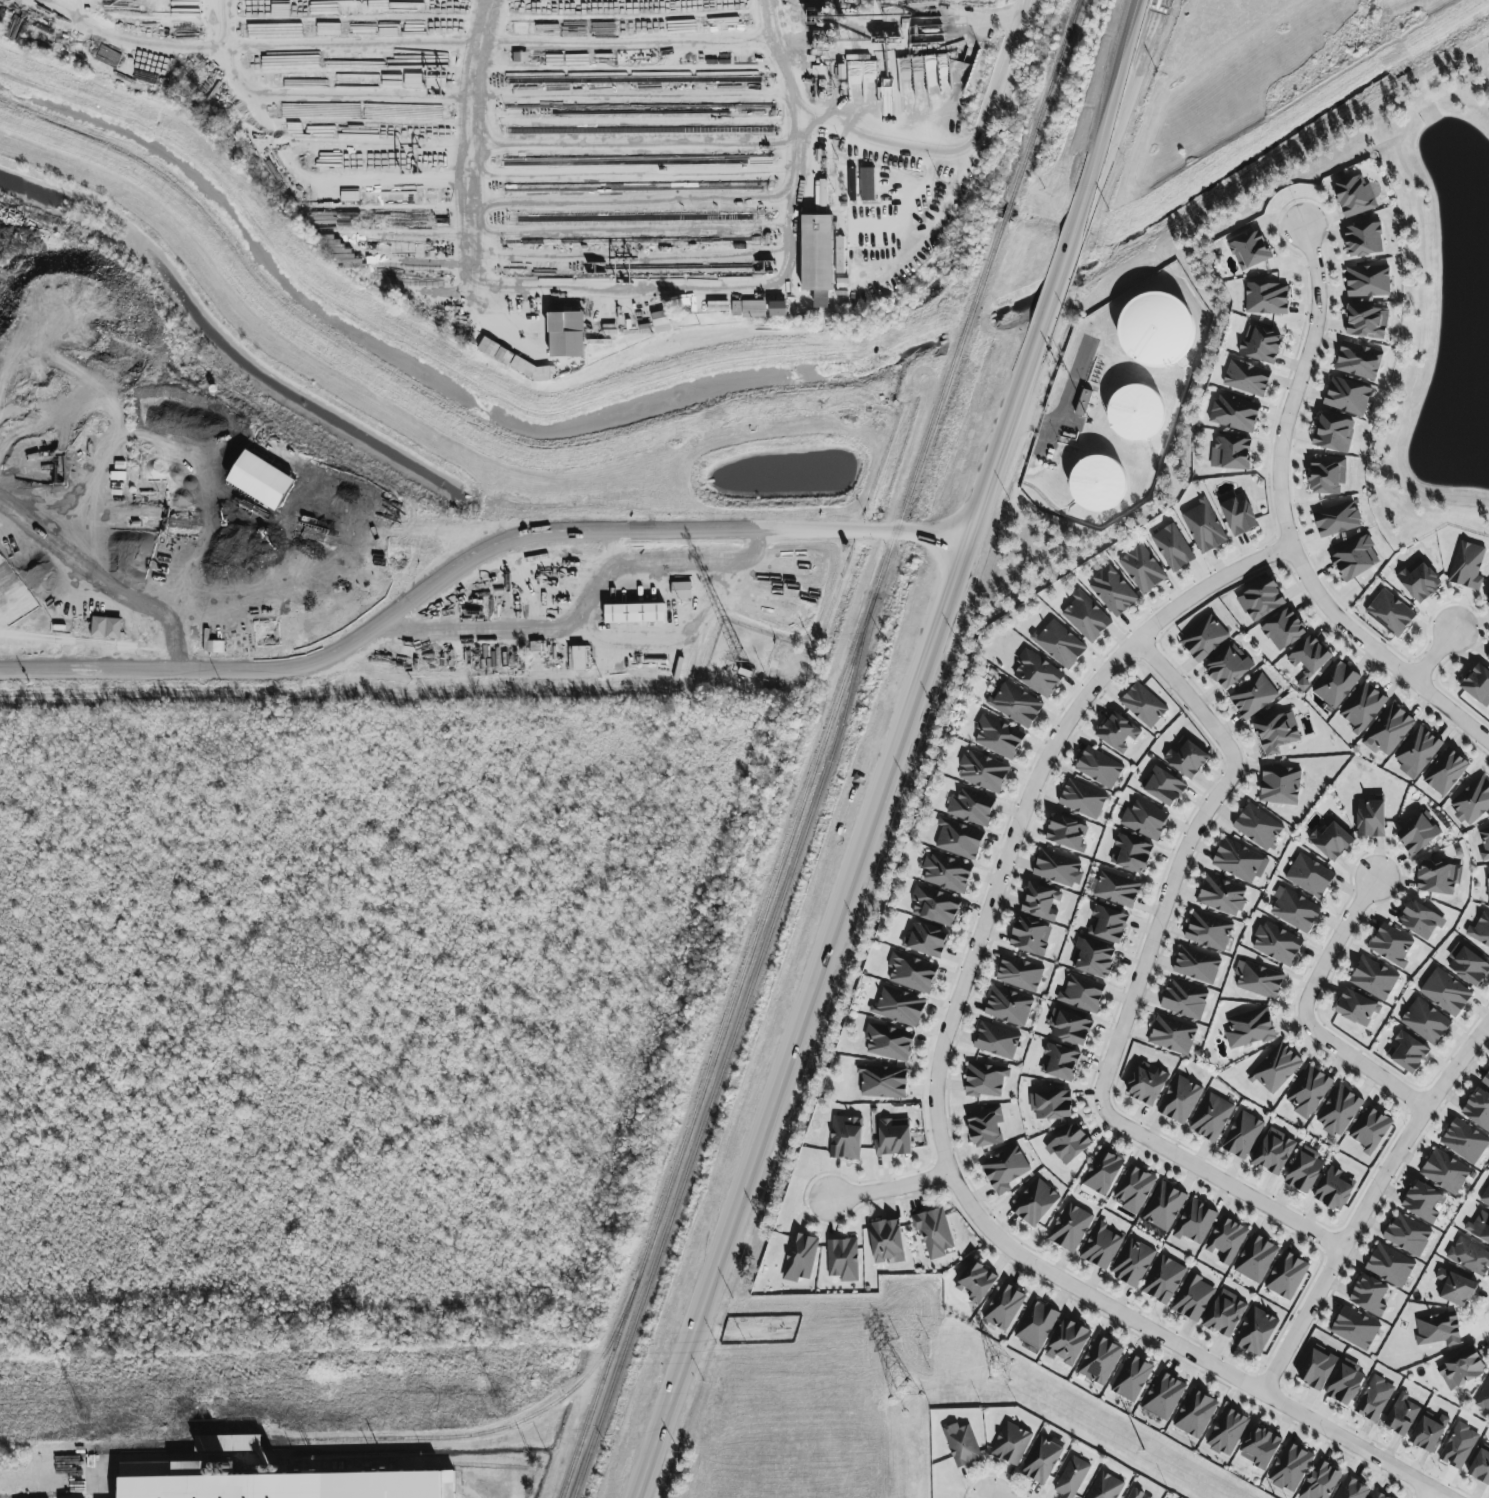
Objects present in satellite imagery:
road: (220, 52)
road: (524, 95)
road: (888, 132)
road: (1106, 134)
road: (973, 167)
river: (1247, 177)
building: (867, 184)
building: (852, 195)
building: (1354, 196)
building: (1363, 240)
building: (1250, 250)
building: (817, 258)
building: (1368, 281)
road: (632, 284)
road: (1052, 294)
building: (1266, 298)
building: (748, 309)
building: (777, 309)
building: (661, 322)
building: (1366, 322)
river: (968, 326)
building: (1156, 330)
building: (566, 335)
building: (1260, 344)
building: (1358, 360)
building: (513, 361)
building: (1246, 378)
river: (432, 386)
building: (1347, 396)
building: (1083, 403)
road: (1061, 408)
building: (1136, 412)
building: (1234, 413)
building: (1333, 433)
building: (1230, 453)
building: (1327, 475)
building: (261, 480)
building: (1098, 483)
building: (1237, 513)
building: (1337, 519)
road: (1285, 525)
building: (1203, 527)
road: (745, 532)
building: (1172, 548)
building: (1354, 559)
road: (675, 563)
building: (1467, 566)
building: (1142, 568)
building: (1418, 580)
building: (651, 590)
building: (681, 590)
building: (1112, 591)
building: (1487, 596)
building: (1261, 600)
building: (634, 613)
building: (1390, 613)
building: (1086, 617)
road: (525, 622)
road: (681, 624)
building: (106, 628)
building: (1283, 630)
building: (1204, 638)
building: (1059, 644)
road: (1433, 655)
building: (1309, 656)
building: (1487, 657)
building: (1229, 667)
road: (280, 668)
building: (1037, 673)
building: (1335, 684)
building: (1477, 685)
building: (1252, 696)
building: (1015, 705)
building: (1143, 705)
building: (1362, 708)
building: (1388, 730)
building: (1117, 732)
building: (1276, 733)
building: (998, 737)
railway: (820, 749)
building: (1417, 752)
building: (1187, 759)
building: (1099, 767)
building: (983, 772)
building: (1445, 772)
building: (1280, 785)
building: (1163, 786)
building: (1082, 799)
building: (1472, 802)
building: (971, 807)
building: (1370, 819)
building: (1144, 820)
building: (1257, 827)
building: (1067, 834)
building: (1417, 834)
building: (959, 839)
building: (1331, 840)
building: (1484, 844)
building: (1131, 854)
building: (1237, 861)
building: (1056, 868)
building: (946, 873)
building: (1309, 876)
building: (1438, 877)
building: (1487, 887)
building: (1117, 889)
building: (1221, 895)
building: (1041, 902)
building: (935, 906)
road: (841, 909)
building: (1294, 910)
building: (1420, 920)
building: (1107, 925)
building: (1480, 930)
building: (1208, 931)
building: (1030, 936)
building: (926, 941)
building: (1276, 944)
building: (1390, 945)
building: (1092, 958)
building: (1196, 965)
building: (1467, 965)
building: (911, 973)
building: (1019, 974)
building: (1373, 978)
building: (1260, 981)
road: (1137, 987)
road: (960, 990)
building: (1445, 992)
building: (1082, 994)
building: (1184, 1000)
building: (1008, 1006)
building: (899, 1007)
building: (1356, 1009)
road: (1309, 1015)
building: (1425, 1021)
building: (1069, 1027)
building: (1249, 1029)
building: (1172, 1035)
building: (889, 1042)
building: (998, 1042)
railway: (729, 1049)
building: (1406, 1052)
building: (1060, 1062)
building: (1276, 1068)
building: (985, 1080)
building: (1486, 1081)
building: (883, 1082)
building: (1146, 1084)
building: (1308, 1092)
building: (1180, 1100)
building: (1051, 1105)
building: (1478, 1109)
building: (1339, 1111)
building: (1211, 1117)
building: (985, 1127)
building: (1370, 1130)
building: (1242, 1135)
building: (893, 1137)
building: (846, 1138)
building: (1464, 1141)
building: (1069, 1144)
building: (1273, 1152)
building: (1005, 1169)
building: (1304, 1170)
building: (1445, 1172)
building: (1101, 1174)
road: (889, 1187)
building: (1133, 1189)
building: (1335, 1189)
building: (1485, 1197)
building: (1424, 1202)
building: (1035, 1203)
building: (1164, 1206)
road: (1369, 1206)
building: (1195, 1223)
building: (1070, 1228)
building: (1478, 1228)
building: (934, 1233)
building: (1407, 1235)
building: (1226, 1240)
building: (886, 1241)
building: (1101, 1246)
building: (799, 1257)
building: (1469, 1257)
building: (842, 1259)
building: (1255, 1259)
building: (1133, 1263)
building: (1390, 1265)
building: (1286, 1275)
building: (1163, 1280)
building: (976, 1282)
building: (1455, 1288)
building: (1369, 1295)
building: (1193, 1298)
building: (1004, 1307)
building: (1225, 1314)
building: (1037, 1325)
building: (1355, 1328)
building: (1437, 1329)
building: (1256, 1331)
building: (1068, 1342)
building: (1100, 1360)
building: (1316, 1369)
building: (1461, 1369)
building: (1132, 1378)
building: (1346, 1383)
power tower: (1020, 1384)
building: (1163, 1396)
power tower: (904, 1397)
building: (1484, 1397)
building: (1374, 1399)
power tower: (497, 1407)
building: (1195, 1414)
building: (1401, 1416)
power tower: (80, 1417)
building: (1226, 1432)
building: (1429, 1432)
railway: (451, 1438)
building: (229, 1443)
building: (1011, 1444)
building: (962, 1446)
road: (1353, 1446)
building: (1458, 1446)
building: (1260, 1447)
building: (1041, 1461)
building: (1481, 1466)
building: (1290, 1468)
building: (1072, 1478)
road: (99, 1481)
power tower: (1195, 1481)
building: (1320, 1481)
building: (281, 1484)
building: (1105, 1486)
road: (1425, 1493)
building: (1136, 1494)
building: (1377, 1495)

